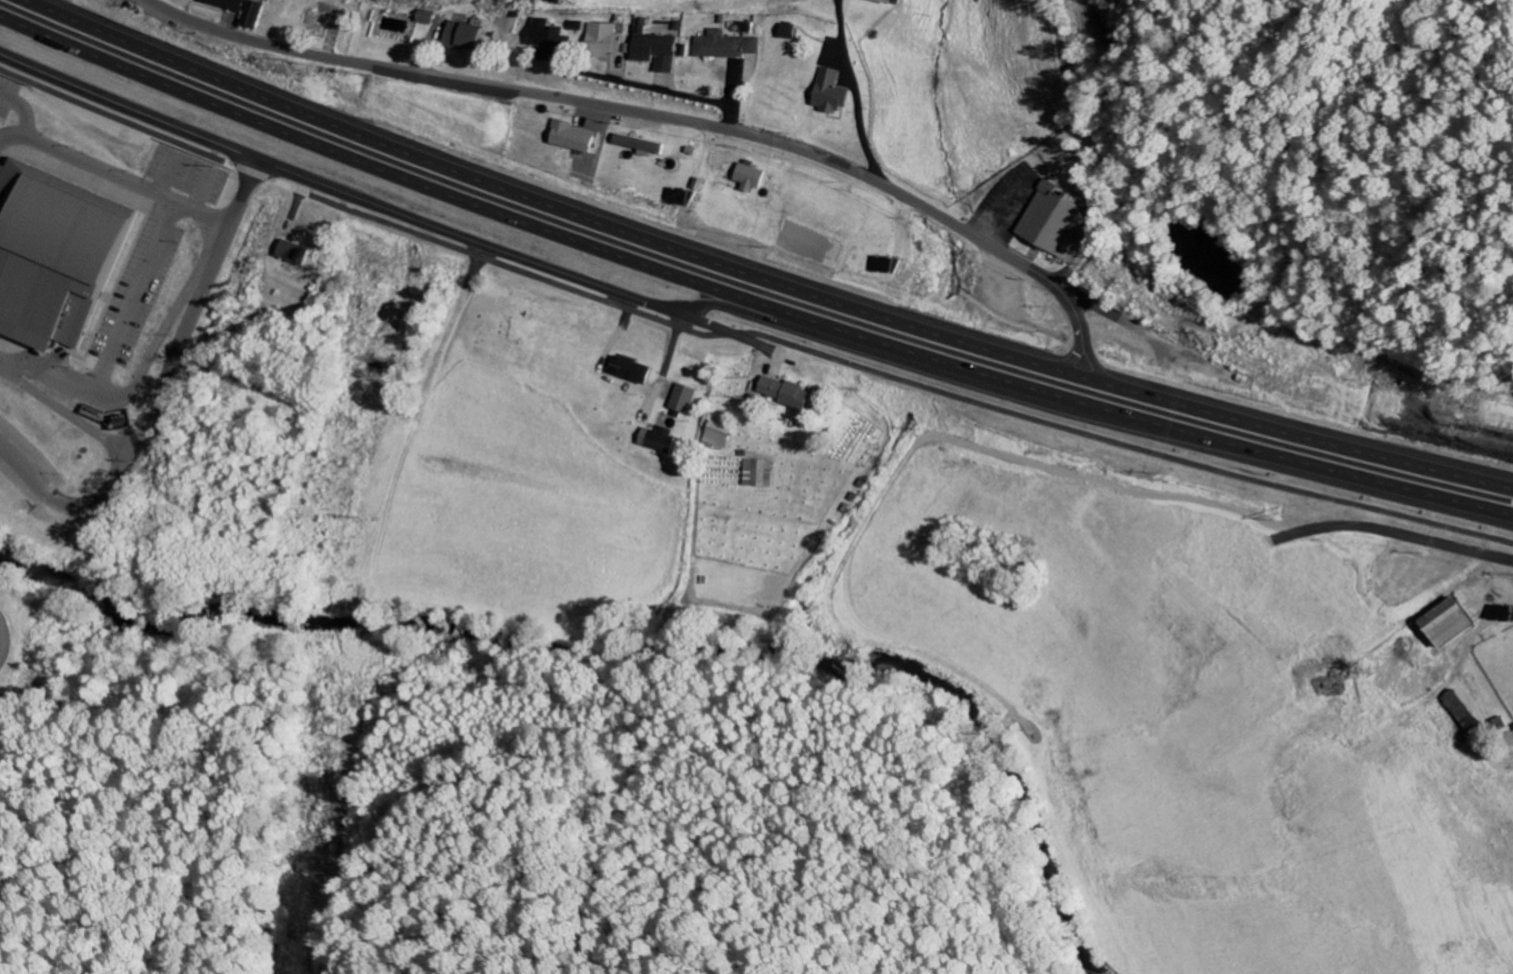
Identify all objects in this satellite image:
building: (193, 0)
building: (893, 2)
building: (226, 4)
building: (253, 15)
building: (577, 28)
building: (792, 32)
building: (465, 36)
building: (546, 36)
building: (606, 40)
building: (728, 46)
building: (657, 50)
building: (834, 93)
road: (662, 114)
building: (575, 138)
building: (641, 146)
road: (1082, 146)
building: (752, 177)
road: (336, 188)
building: (1053, 221)
building: (294, 253)
building: (53, 258)
road: (759, 271)
road: (744, 300)
building: (635, 371)
building: (789, 393)
building: (684, 399)
building: (717, 435)
building: (660, 441)
building: (1453, 624)
river: (485, 636)
river: (1060, 831)

